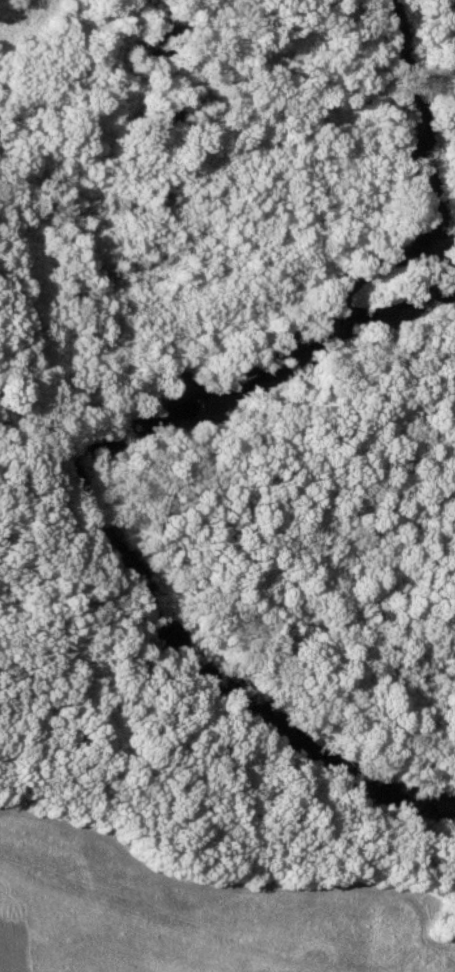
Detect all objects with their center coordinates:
river: (152, 419)

